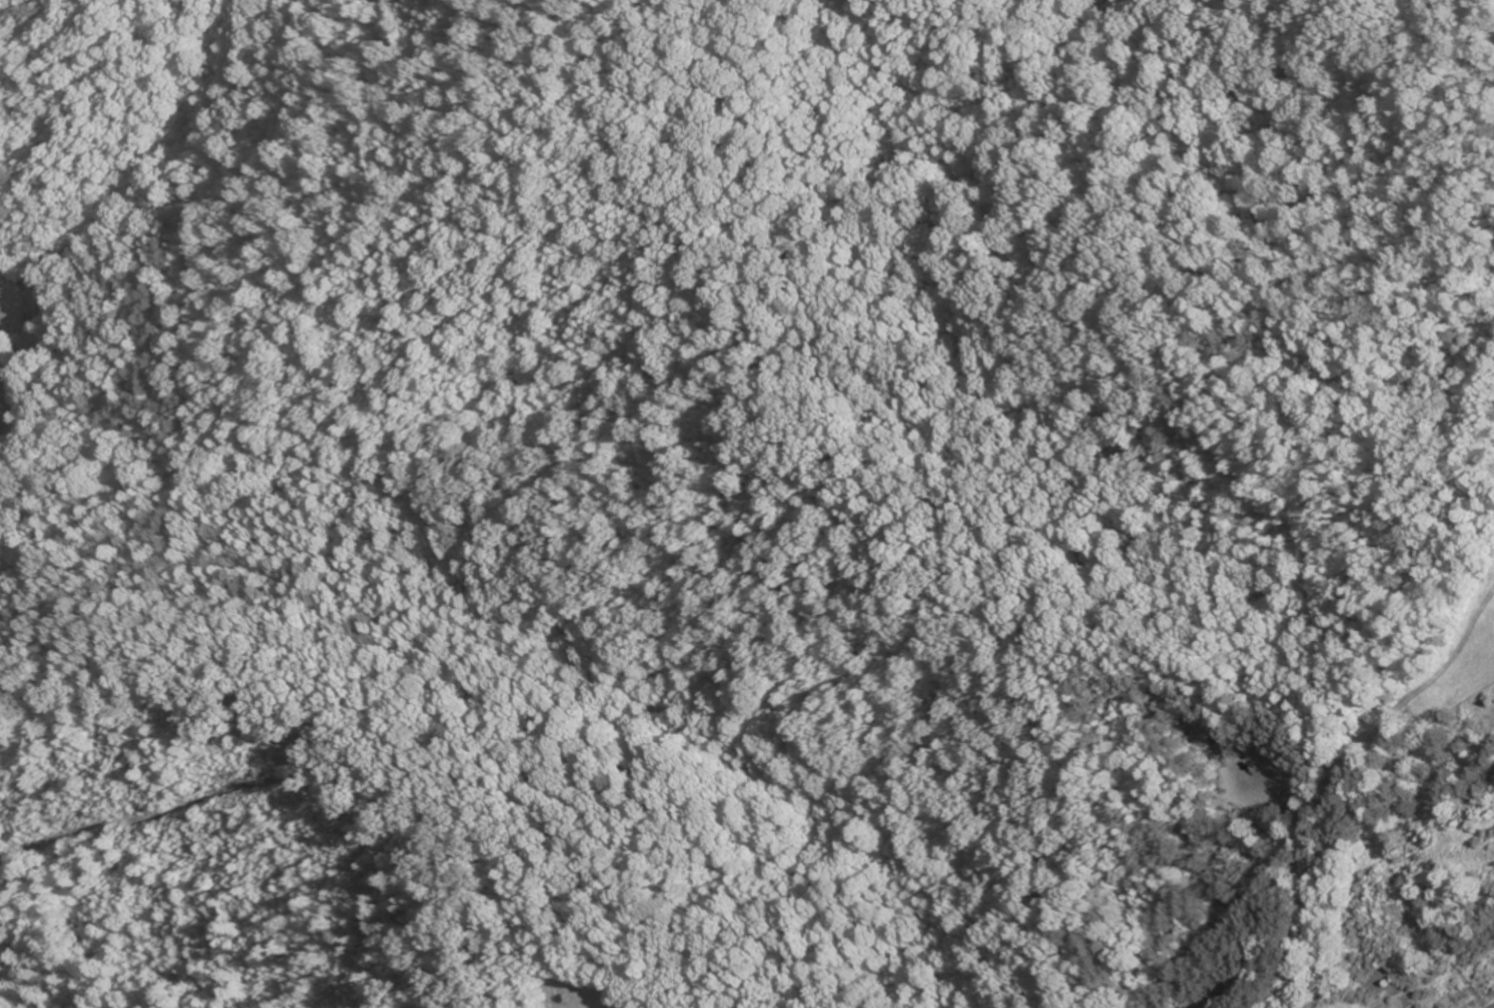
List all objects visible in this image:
road: (1344, 805)

